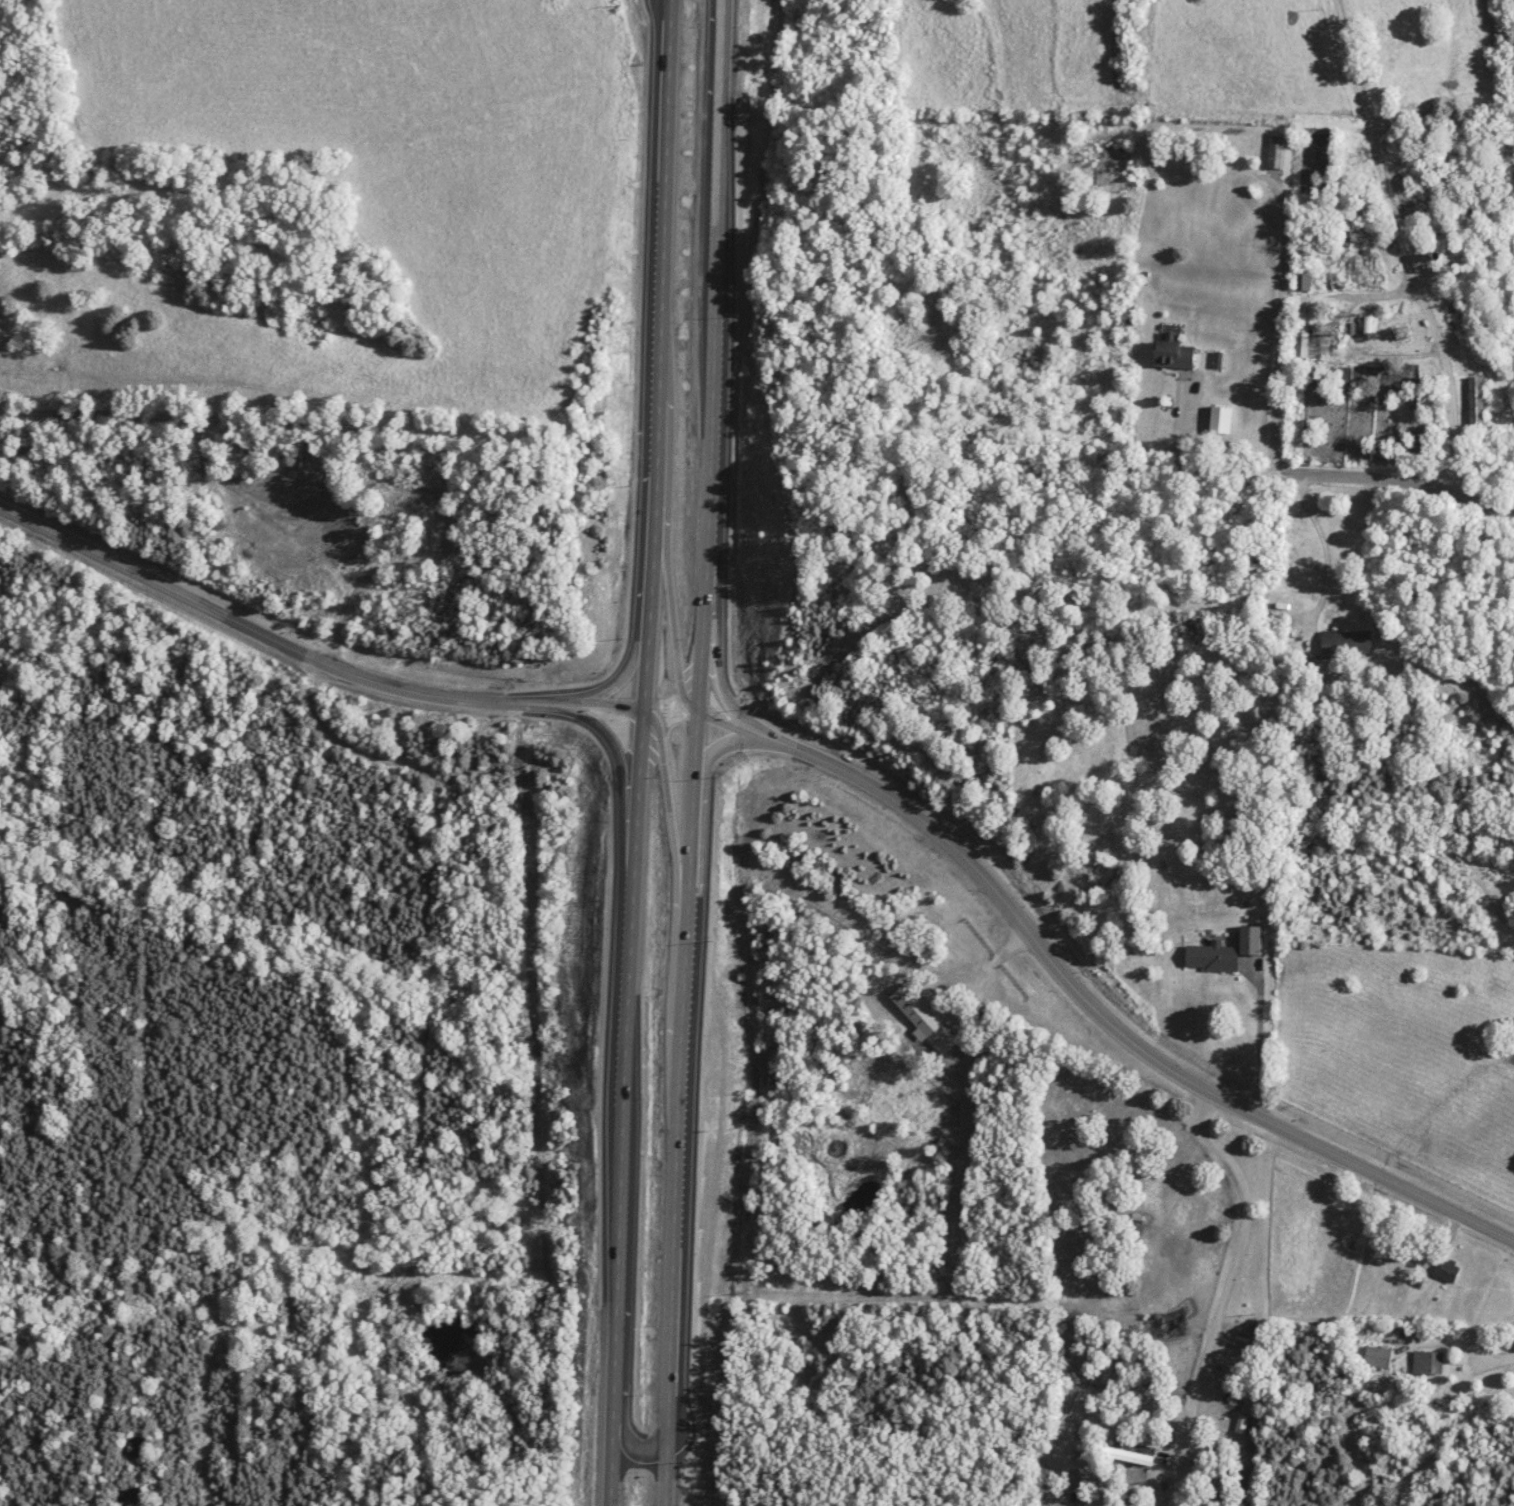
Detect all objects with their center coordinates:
building: (1276, 153)
building: (1111, 166)
road: (1286, 222)
road: (1403, 242)
building: (1303, 282)
building: (1178, 355)
building: (1474, 402)
building: (1223, 420)
road: (1210, 468)
road: (1329, 557)
building: (974, 595)
road: (668, 610)
building: (1348, 643)
road: (309, 655)
road: (584, 702)
road: (756, 726)
road: (697, 752)
road: (641, 753)
road: (673, 832)
building: (1230, 952)
road: (1066, 980)
road: (424, 1008)
road: (1260, 1036)
building: (1453, 1271)
road: (1230, 1277)
road: (1460, 1345)
building: (1382, 1359)
building: (1431, 1363)

